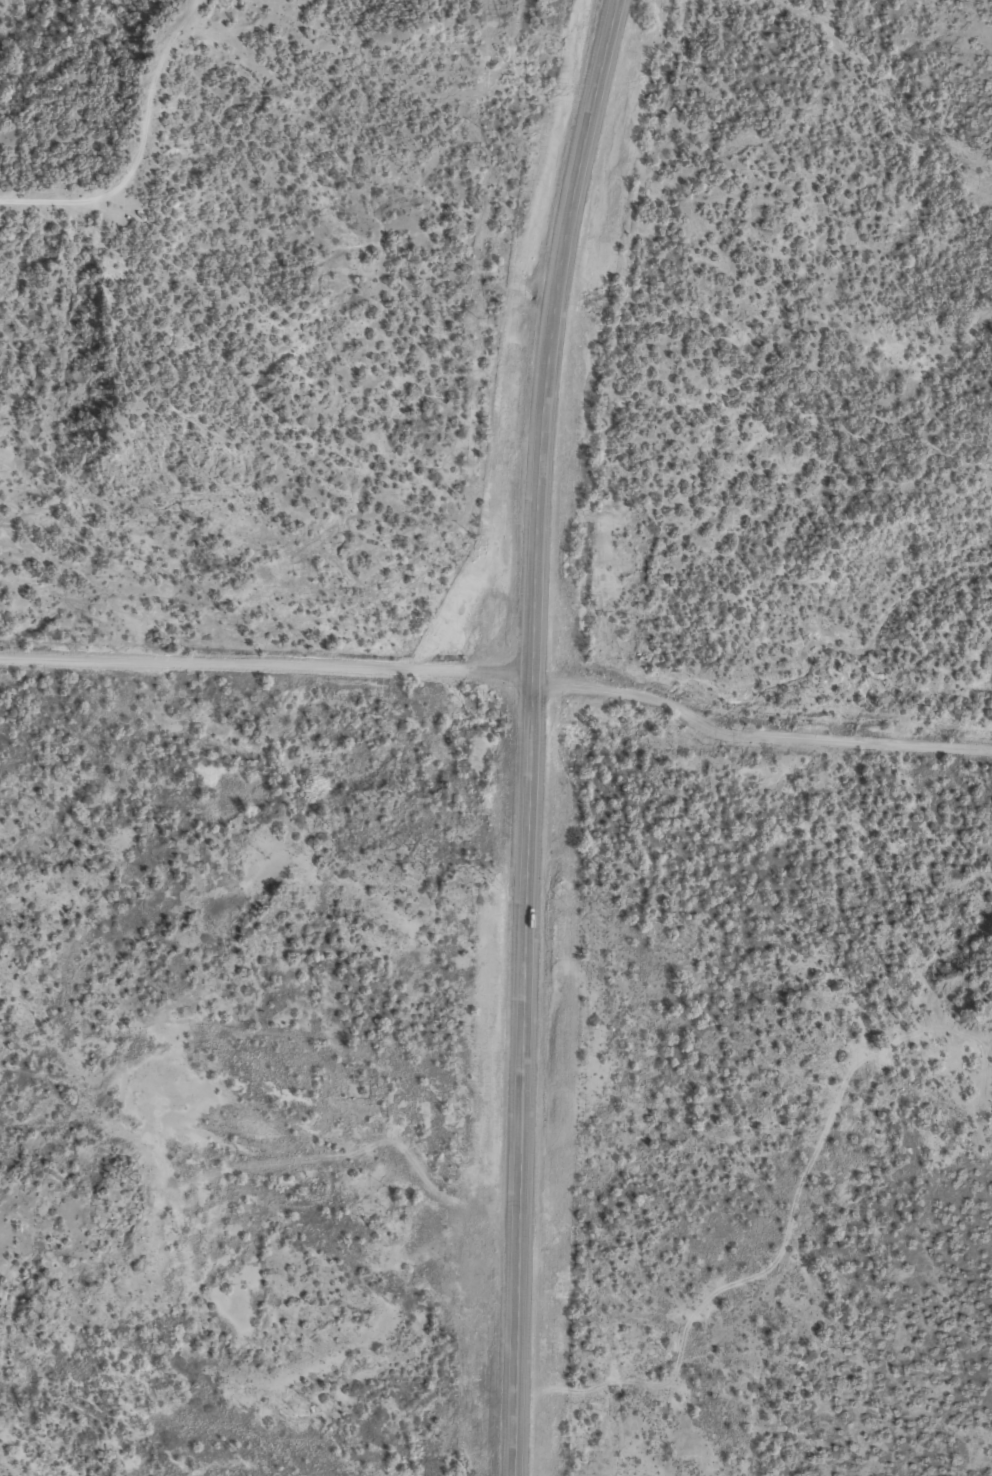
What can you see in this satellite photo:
road: (440, 65)
road: (140, 139)
road: (64, 601)
road: (264, 659)
road: (526, 734)
road: (755, 737)

